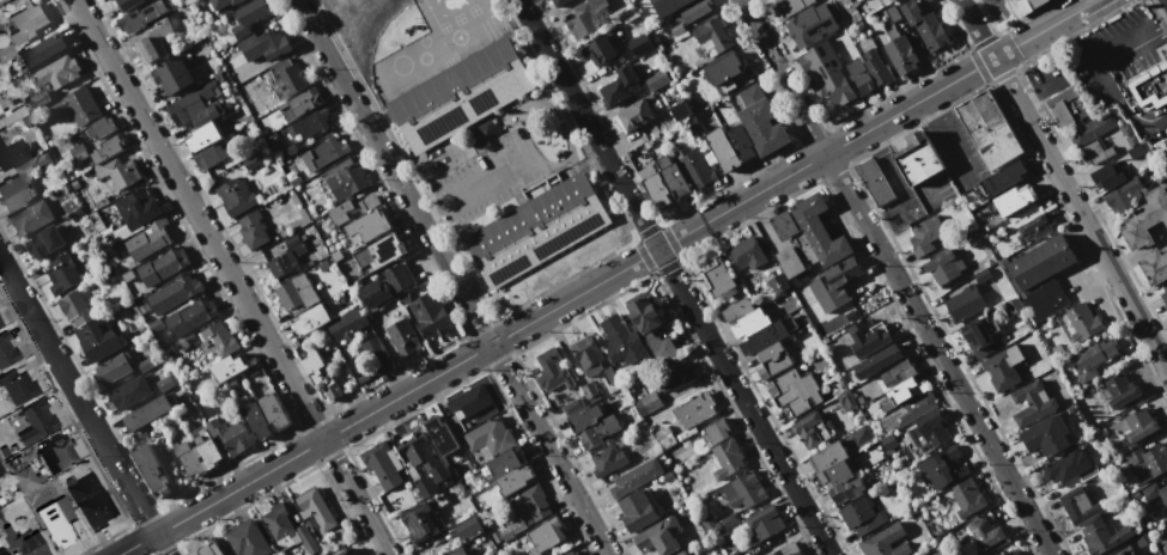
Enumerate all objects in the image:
building: (103, 0)
building: (105, 0)
building: (548, 0)
building: (1027, 0)
building: (892, 1)
building: (924, 1)
building: (221, 2)
building: (558, 2)
building: (1037, 2)
building: (127, 5)
building: (791, 6)
building: (1019, 6)
building: (669, 7)
building: (694, 10)
building: (892, 13)
building: (141, 17)
building: (249, 17)
building: (589, 17)
building: (28, 22)
building: (840, 24)
building: (803, 25)
building: (925, 25)
building: (676, 29)
road: (1044, 30)
building: (713, 35)
building: (151, 41)
building: (265, 44)
building: (639, 44)
building: (601, 49)
building: (43, 50)
building: (6, 53)
building: (902, 54)
building: (723, 68)
building: (60, 69)
road: (1098, 71)
building: (868, 72)
building: (826, 73)
building: (172, 75)
building: (287, 78)
building: (657, 80)
building: (620, 85)
building: (1150, 86)
road: (1029, 92)
building: (461, 94)
building: (37, 100)
building: (300, 104)
building: (196, 105)
building: (74, 106)
building: (1066, 106)
building: (680, 110)
building: (0, 111)
building: (0, 115)
building: (636, 115)
building: (760, 121)
building: (308, 122)
building: (99, 127)
building: (1094, 128)
building: (989, 129)
road: (941, 134)
building: (1128, 134)
building: (202, 138)
building: (740, 141)
building: (274, 142)
building: (107, 150)
building: (723, 150)
building: (1162, 150)
building: (1135, 151)
building: (1092, 152)
building: (323, 153)
building: (12, 154)
building: (209, 155)
building: (918, 158)
building: (250, 161)
building: (694, 167)
building: (121, 172)
building: (673, 177)
building: (1107, 177)
building: (1003, 178)
building: (345, 179)
building: (874, 182)
building: (20, 184)
road: (1063, 184)
building: (655, 185)
road: (474, 187)
building: (1123, 195)
building: (235, 196)
building: (1015, 199)
building: (138, 208)
building: (351, 208)
building: (31, 218)
building: (1145, 219)
building: (784, 225)
building: (367, 226)
building: (1034, 228)
building: (253, 230)
building: (536, 230)
building: (925, 234)
building: (813, 238)
building: (148, 240)
building: (44, 242)
building: (381, 251)
building: (744, 252)
building: (287, 255)
building: (947, 264)
building: (163, 266)
building: (1154, 266)
building: (843, 272)
building: (62, 274)
road: (230, 276)
building: (397, 276)
road: (893, 276)
building: (1041, 276)
road: (449, 277)
road: (673, 277)
building: (717, 277)
building: (778, 282)
building: (373, 292)
building: (174, 293)
building: (1163, 293)
building: (297, 294)
building: (965, 301)
building: (75, 307)
road: (555, 307)
building: (812, 307)
building: (736, 309)
building: (430, 313)
building: (644, 313)
building: (190, 315)
building: (312, 319)
building: (749, 322)
building: (1083, 322)
building: (0, 324)
building: (347, 324)
building: (980, 336)
building: (403, 337)
building: (764, 337)
building: (868, 337)
building: (220, 339)
building: (98, 340)
building: (622, 341)
building: (662, 347)
building: (7, 350)
building: (376, 353)
building: (586, 355)
building: (773, 358)
building: (1092, 358)
building: (877, 361)
building: (145, 364)
building: (227, 367)
building: (1003, 367)
building: (113, 368)
building: (551, 371)
building: (896, 372)
building: (320, 374)
building: (673, 374)
building: (164, 383)
building: (19, 386)
building: (1119, 390)
building: (795, 391)
building: (129, 392)
building: (900, 394)
building: (470, 401)
building: (845, 401)
building: (648, 402)
building: (1032, 403)
road: (83, 408)
building: (273, 410)
building: (693, 410)
building: (907, 411)
building: (147, 413)
building: (584, 417)
building: (255, 420)
building: (36, 421)
building: (1135, 423)
building: (810, 429)
building: (597, 431)
building: (716, 431)
building: (926, 431)
building: (229, 434)
building: (1047, 434)
building: (440, 435)
building: (490, 437)
building: (663, 437)
building: (887, 441)
building: (207, 451)
building: (56, 455)
building: (423, 456)
building: (827, 457)
building: (188, 458)
building: (728, 458)
building: (607, 461)
building: (506, 462)
building: (1148, 462)
building: (382, 464)
building: (1064, 466)
building: (942, 468)
building: (1, 470)
building: (152, 470)
building: (835, 475)
building: (636, 477)
building: (25, 480)
building: (513, 480)
building: (425, 487)
building: (746, 490)
building: (846, 490)
building: (1156, 490)
building: (89, 496)
building: (967, 498)
building: (535, 501)
building: (1077, 506)
building: (316, 508)
building: (637, 511)
building: (859, 516)
building: (1166, 518)
building: (276, 520)
building: (56, 522)
building: (419, 523)
building: (717, 523)
building: (764, 523)
building: (467, 527)
building: (506, 530)
building: (984, 531)
building: (545, 536)
building: (660, 536)
building: (1102, 537)
building: (247, 538)
building: (305, 538)
building: (1142, 541)
building: (24, 542)
building: (882, 545)
building: (1165, 547)
building: (208, 549)
building: (783, 550)
building: (2, 551)
building: (346, 551)
building: (461, 551)
building: (1125, 551)
building: (571, 553)
building: (681, 553)
building: (733, 553)
building: (1008, 553)
building: (990, 554)

